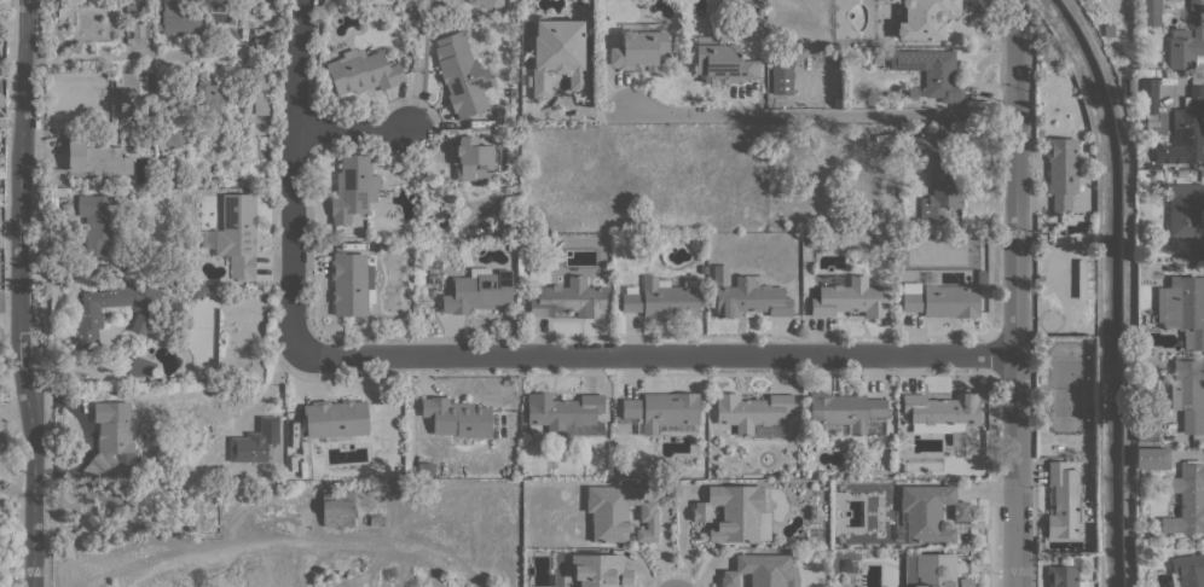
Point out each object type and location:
building: (482, 2)
building: (1150, 12)
building: (176, 17)
building: (924, 19)
building: (671, 28)
building: (141, 29)
building: (1107, 30)
building: (1141, 39)
building: (1187, 39)
building: (638, 46)
building: (556, 54)
road: (93, 56)
building: (720, 60)
building: (363, 71)
building: (931, 71)
building: (1152, 71)
building: (463, 75)
building: (781, 76)
building: (1130, 86)
building: (1147, 87)
building: (260, 88)
building: (911, 92)
building: (513, 94)
building: (131, 95)
building: (206, 98)
building: (1, 99)
building: (838, 101)
road: (818, 116)
road: (12, 121)
road: (349, 130)
building: (1040, 132)
building: (1186, 132)
building: (169, 138)
building: (811, 141)
building: (132, 147)
building: (471, 157)
building: (97, 158)
building: (1061, 172)
road: (293, 174)
building: (353, 187)
building: (939, 188)
building: (59, 192)
building: (1185, 214)
building: (99, 219)
building: (861, 226)
building: (237, 234)
building: (810, 240)
building: (720, 274)
building: (980, 277)
building: (1041, 278)
building: (1082, 278)
building: (806, 279)
building: (349, 283)
road: (1096, 285)
road: (1125, 287)
building: (196, 290)
building: (477, 290)
road: (25, 292)
road: (1014, 292)
building: (847, 295)
building: (568, 297)
building: (662, 297)
building: (751, 297)
building: (939, 297)
road: (12, 300)
building: (1182, 308)
building: (241, 313)
building: (135, 319)
road: (654, 355)
building: (140, 367)
building: (1188, 393)
building: (661, 412)
building: (752, 412)
building: (940, 412)
building: (566, 413)
building: (847, 413)
building: (457, 417)
building: (336, 419)
building: (1147, 428)
building: (110, 437)
building: (255, 441)
building: (1152, 459)
building: (1187, 499)
building: (1063, 500)
building: (337, 506)
building: (192, 510)
building: (930, 511)
building: (619, 512)
building: (731, 512)
building: (376, 521)
road: (683, 536)
road: (665, 539)
building: (600, 570)
building: (759, 570)
building: (932, 570)
building: (1187, 570)
building: (1064, 576)

